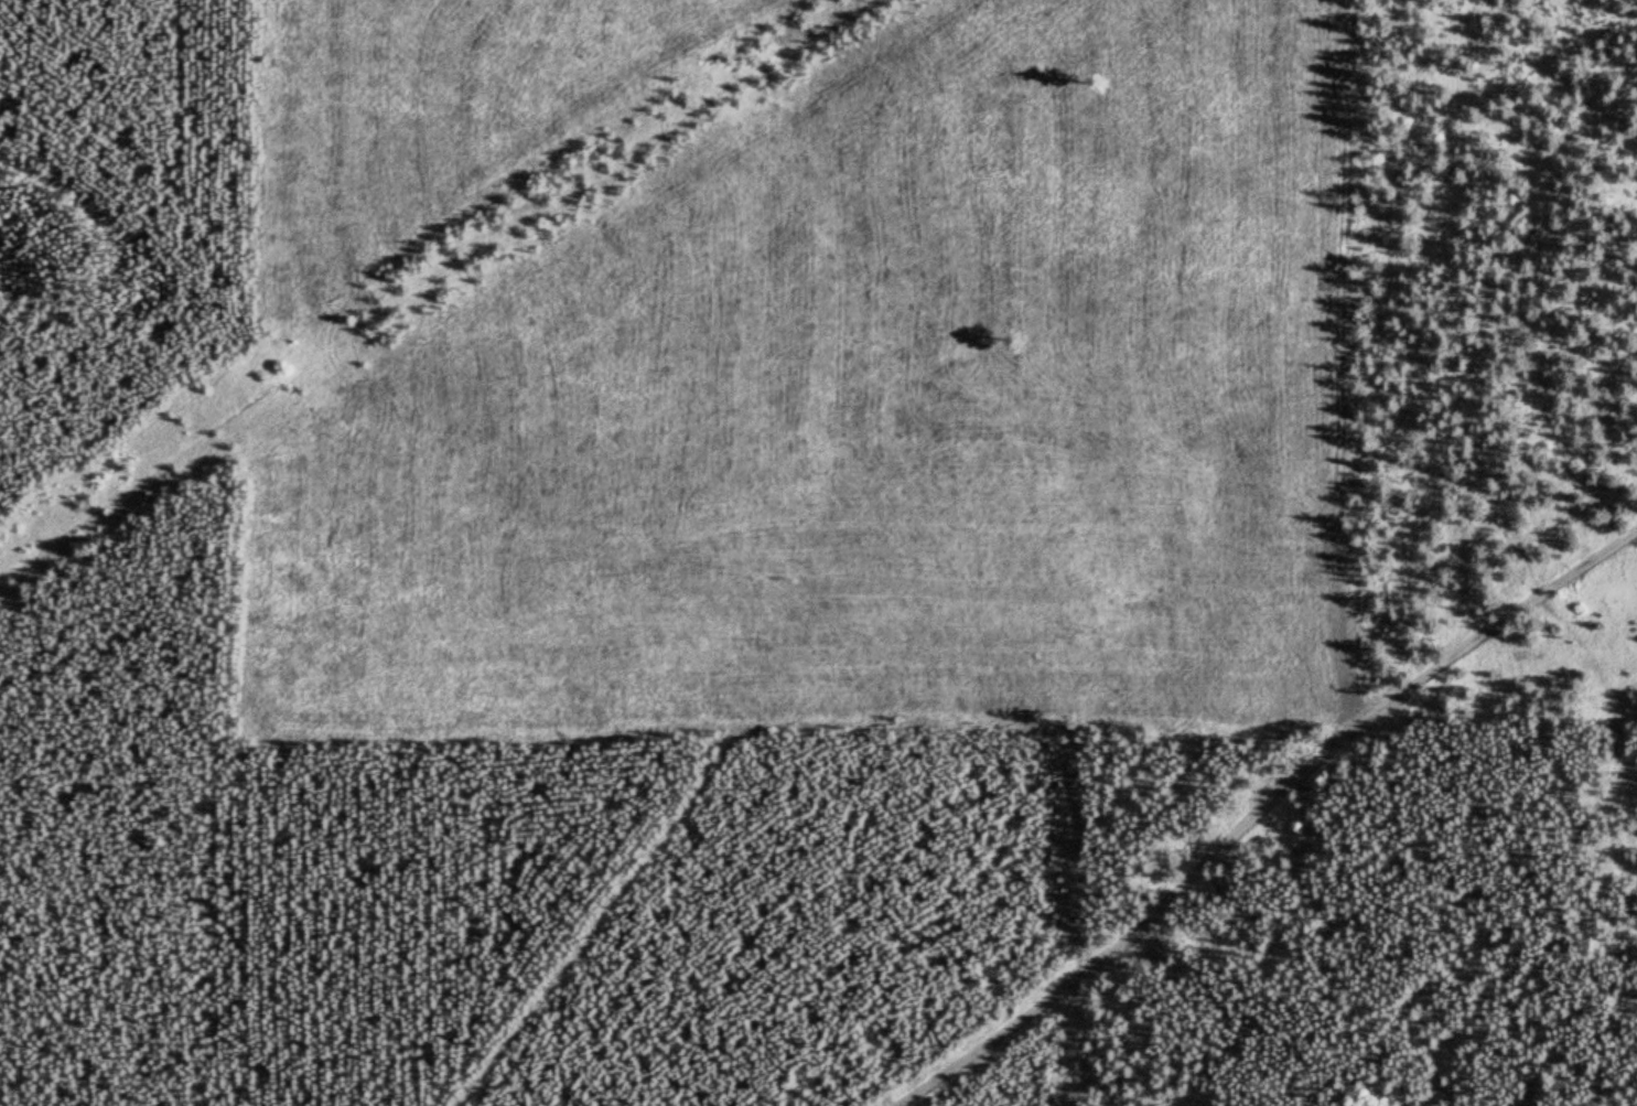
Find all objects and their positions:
road: (1267, 805)
road: (1536, 1009)

